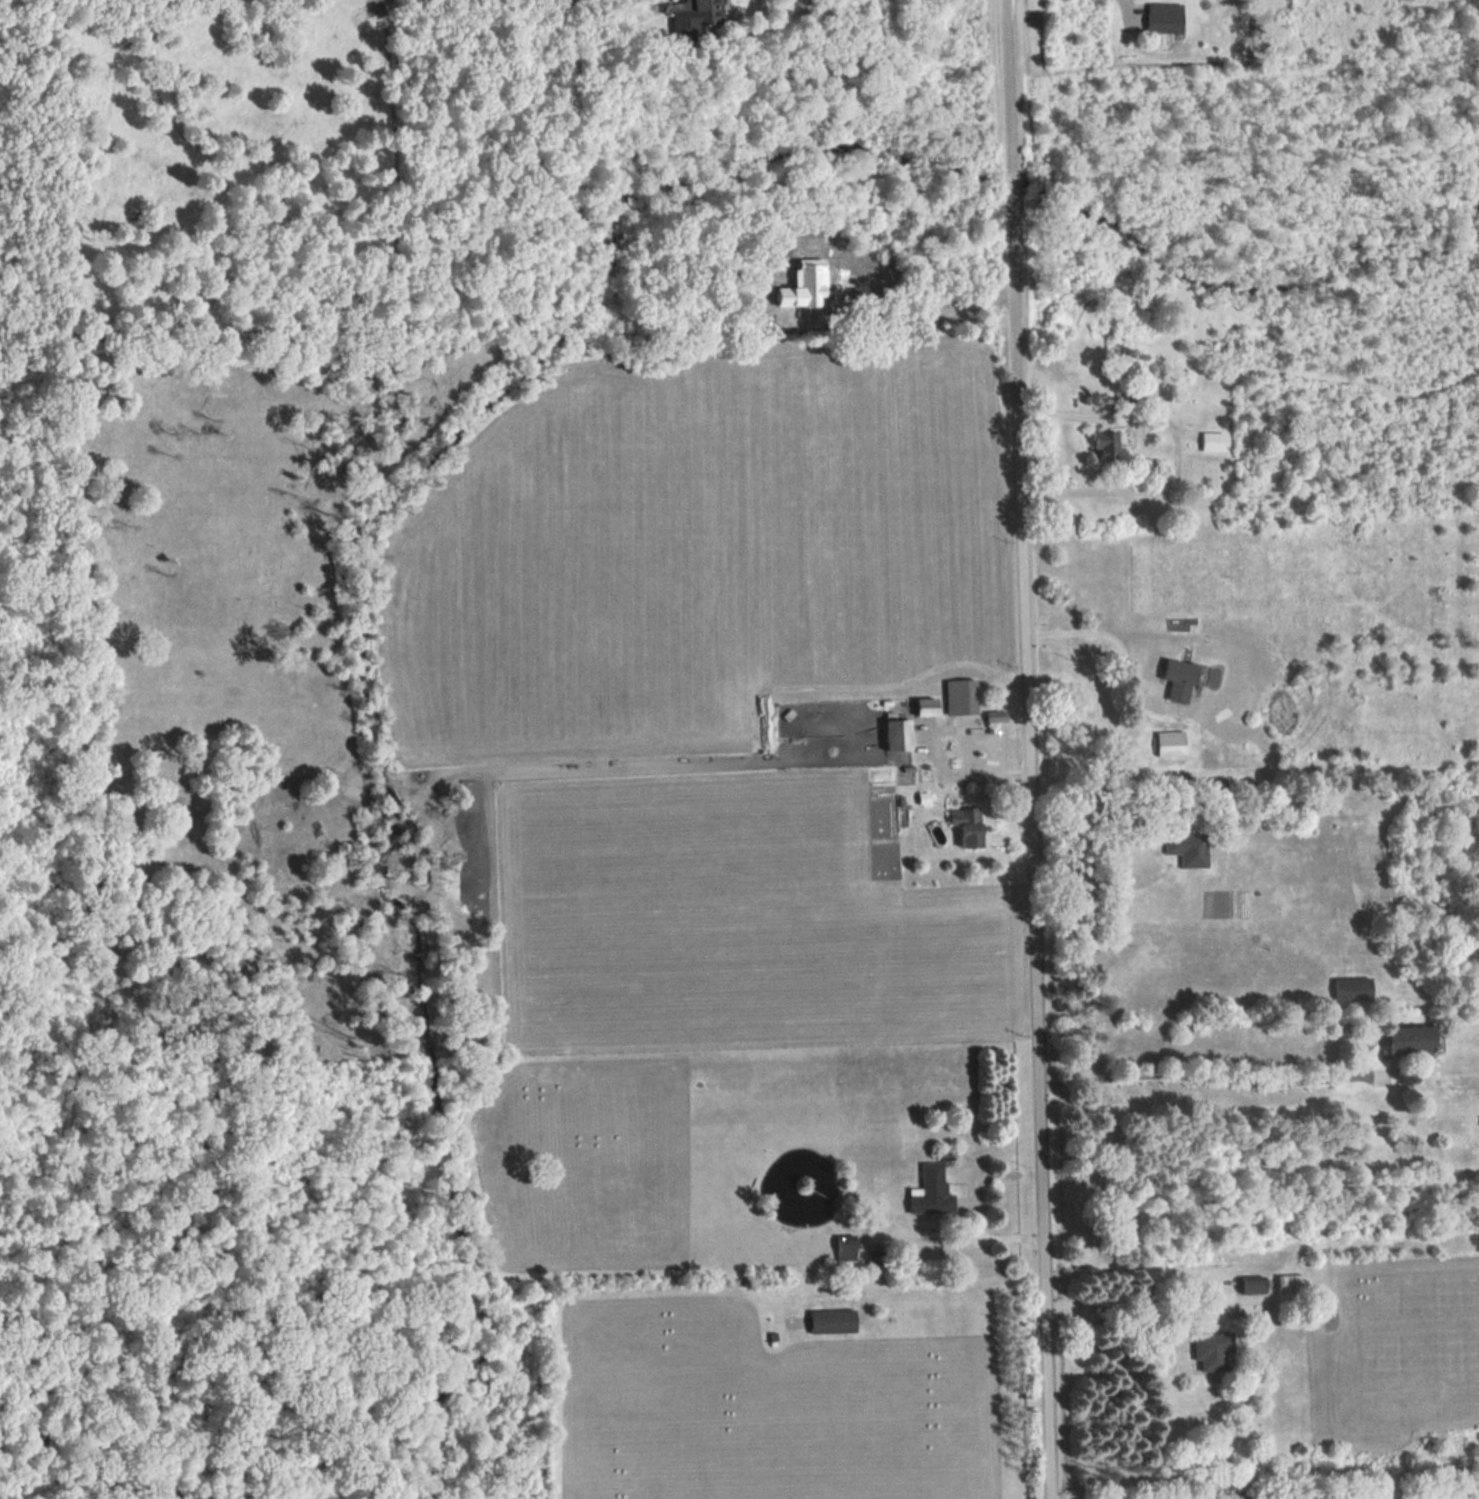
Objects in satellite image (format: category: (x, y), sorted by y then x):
building: (701, 16)
road: (1004, 84)
road: (1008, 191)
building: (1212, 442)
building: (1110, 445)
road: (1093, 635)
building: (1179, 679)
building: (958, 697)
building: (894, 735)
building: (1168, 744)
road: (930, 747)
building: (1213, 788)
building: (964, 826)
road: (1086, 839)
building: (1186, 848)
road: (1029, 856)
building: (1407, 1036)
road: (1201, 1077)
building: (929, 1191)
road: (953, 1238)
building: (844, 1247)
building: (1288, 1281)
building: (1251, 1283)
building: (831, 1319)
road: (1115, 1319)
building: (1212, 1349)

